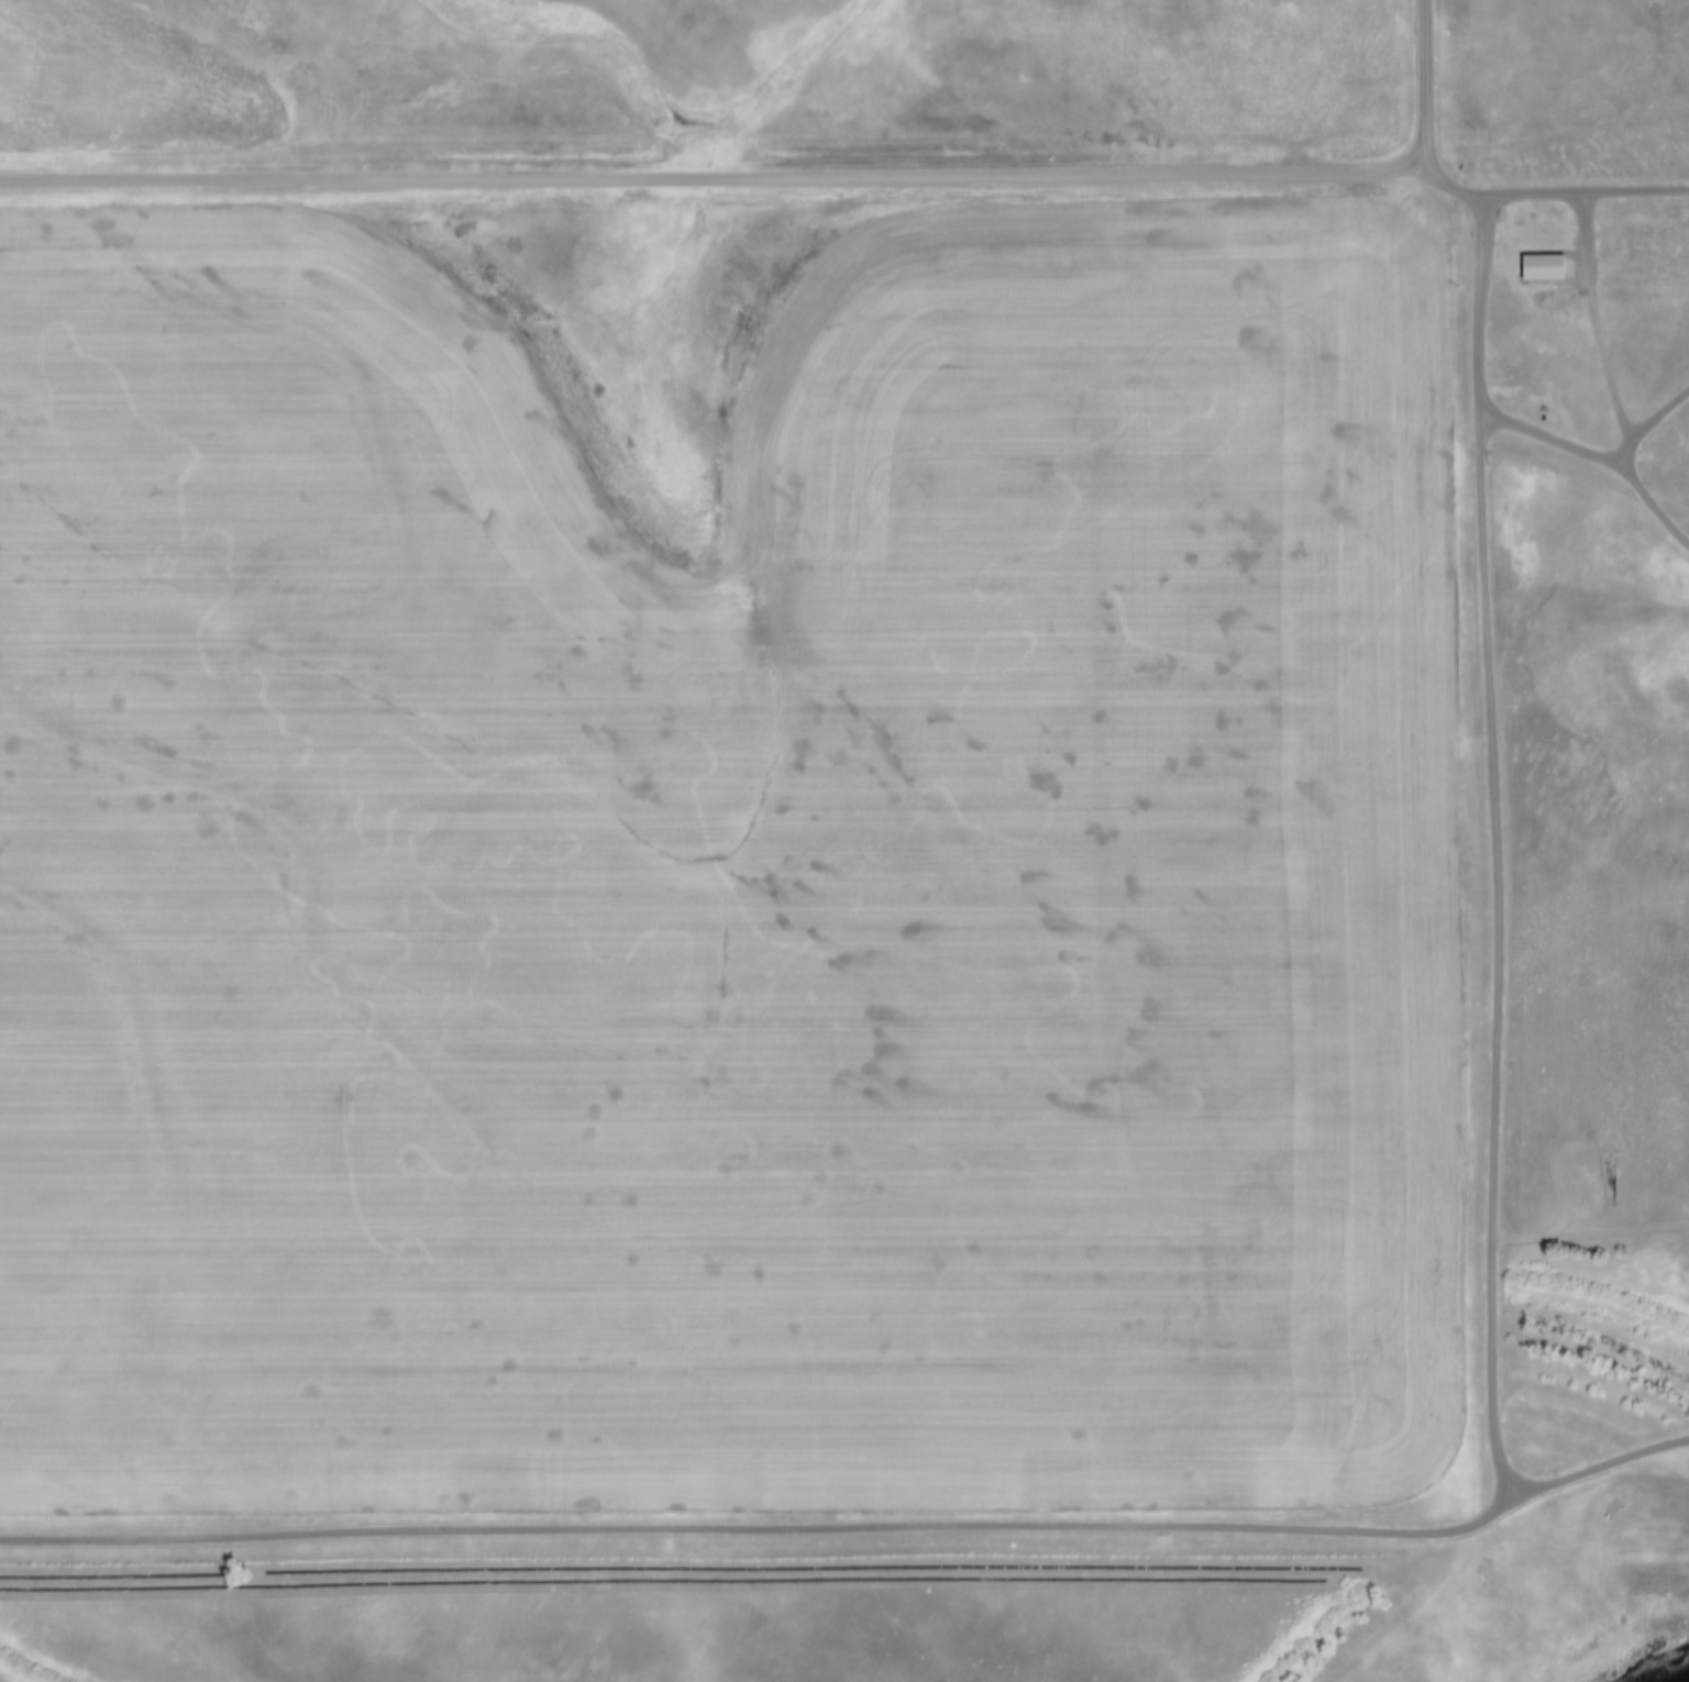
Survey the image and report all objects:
road: (1428, 80)
road: (714, 181)
road: (1546, 196)
road: (1589, 239)
building: (1550, 266)
road: (1605, 372)
road: (1657, 424)
road: (1603, 455)
road: (1668, 1205)
road: (1590, 1231)
road: (1599, 1469)
road: (1405, 1528)

